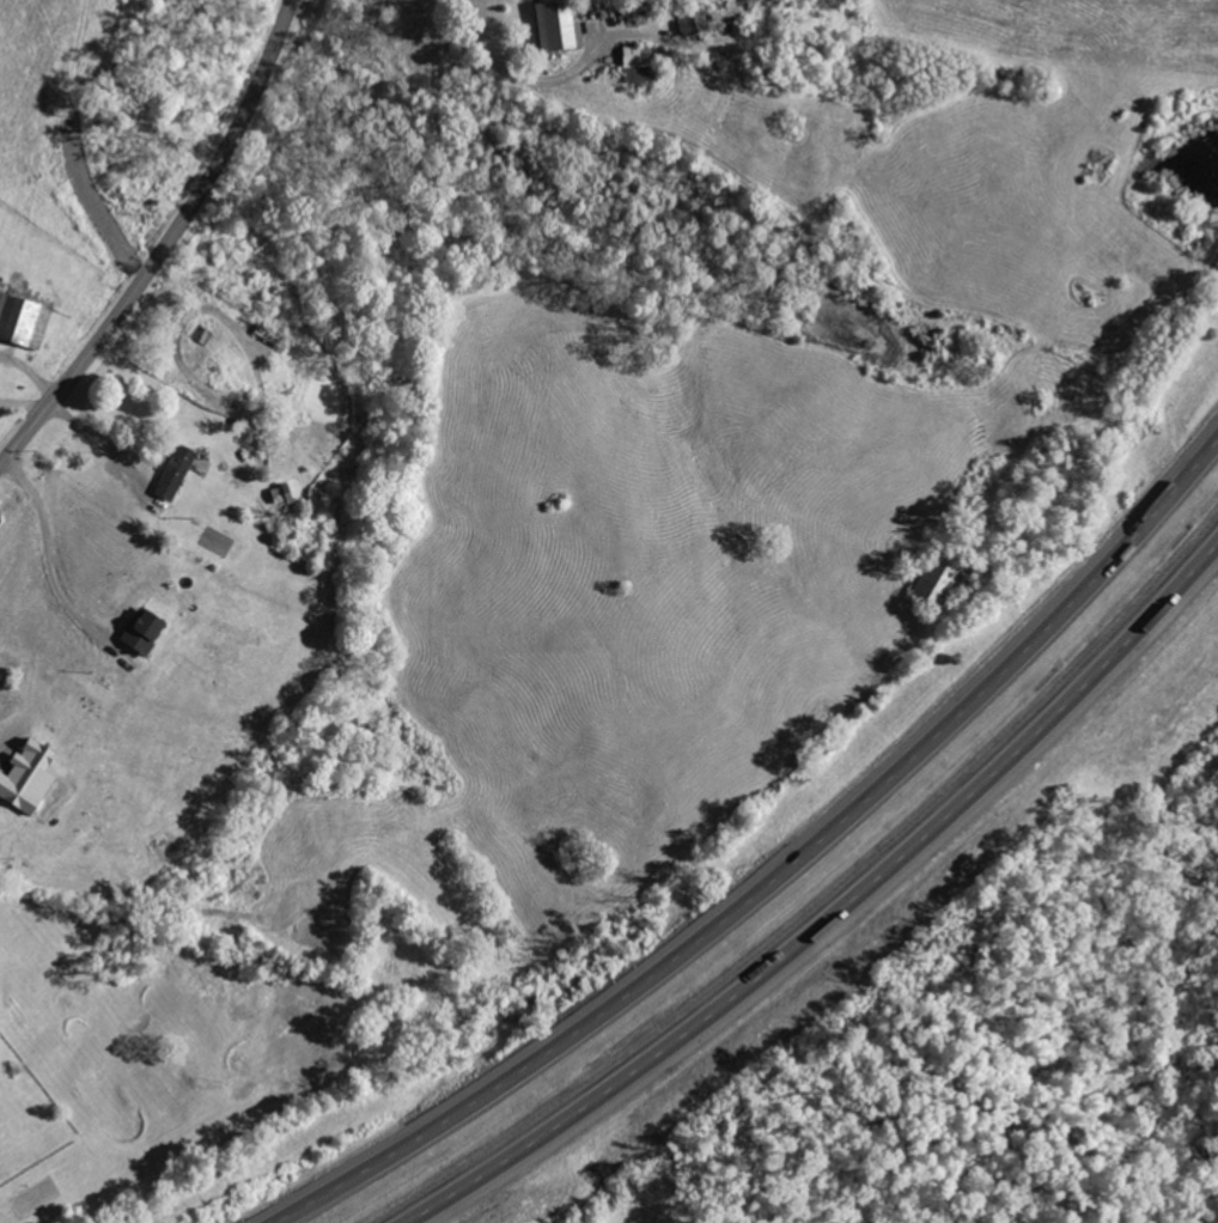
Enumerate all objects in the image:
building: (705, 18)
building: (556, 26)
building: (637, 66)
road: (519, 71)
road: (168, 245)
building: (22, 322)
road: (28, 403)
road: (111, 443)
building: (175, 474)
road: (49, 550)
building: (141, 632)
building: (25, 777)
building: (1, 803)
road: (785, 876)
road: (840, 911)

